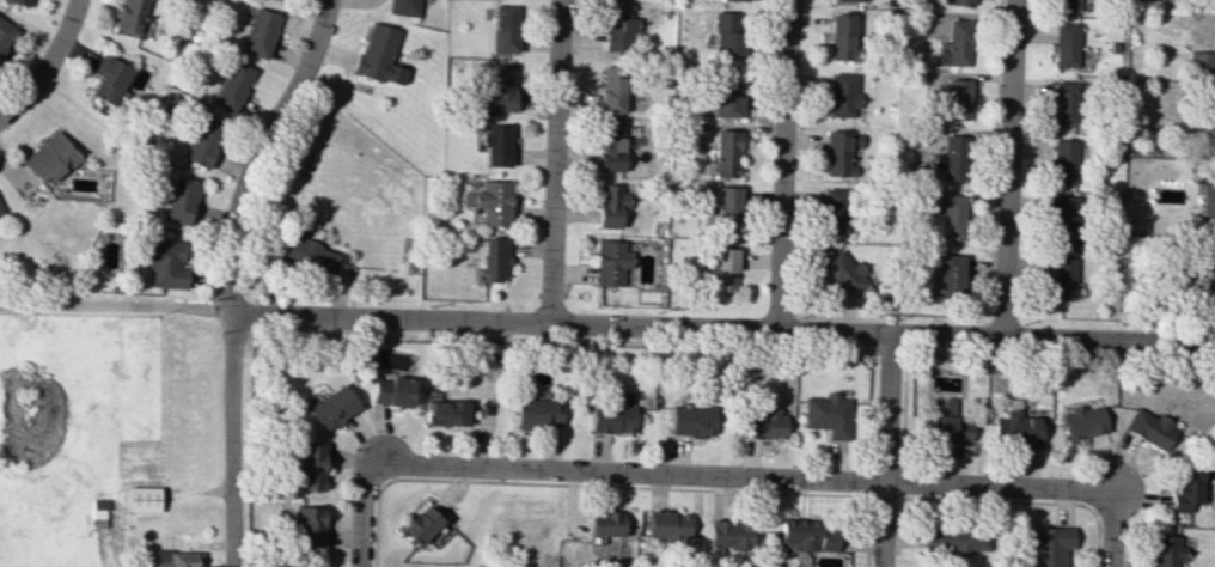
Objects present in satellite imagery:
building: (734, 0)
building: (847, 0)
building: (23, 1)
building: (958, 1)
building: (1069, 5)
building: (403, 7)
building: (132, 16)
building: (505, 28)
building: (618, 29)
building: (261, 32)
building: (5, 33)
building: (722, 33)
building: (842, 36)
building: (957, 43)
building: (1067, 44)
building: (379, 54)
building: (1202, 60)
road: (47, 63)
building: (109, 79)
building: (233, 85)
building: (502, 86)
building: (611, 89)
building: (725, 94)
building: (841, 94)
building: (957, 98)
building: (1068, 103)
building: (203, 141)
building: (497, 144)
building: (610, 147)
building: (726, 152)
building: (841, 152)
building: (952, 157)
building: (48, 158)
building: (1064, 160)
road: (552, 161)
road: (780, 165)
road: (1007, 167)
building: (1205, 196)
building: (181, 200)
building: (490, 202)
building: (609, 205)
building: (725, 206)
building: (834, 209)
building: (0, 213)
building: (948, 218)
building: (1064, 219)
building: (494, 258)
building: (610, 262)
building: (165, 263)
building: (721, 270)
building: (844, 272)
road: (225, 273)
building: (951, 273)
building: (1061, 278)
building: (1210, 278)
road: (114, 305)
road: (722, 328)
building: (391, 390)
building: (947, 404)
building: (331, 408)
building: (446, 413)
building: (533, 413)
building: (826, 414)
building: (610, 417)
building: (690, 419)
building: (1082, 421)
building: (761, 422)
building: (1149, 428)
road: (884, 450)
building: (309, 467)
road: (761, 476)
building: (1185, 490)
building: (142, 498)
road: (365, 502)
building: (605, 523)
building: (309, 524)
building: (420, 524)
building: (664, 524)
road: (1110, 531)
building: (729, 534)
building: (805, 535)
building: (960, 539)
building: (1048, 545)
building: (1164, 550)
building: (175, 559)
building: (285, 565)

